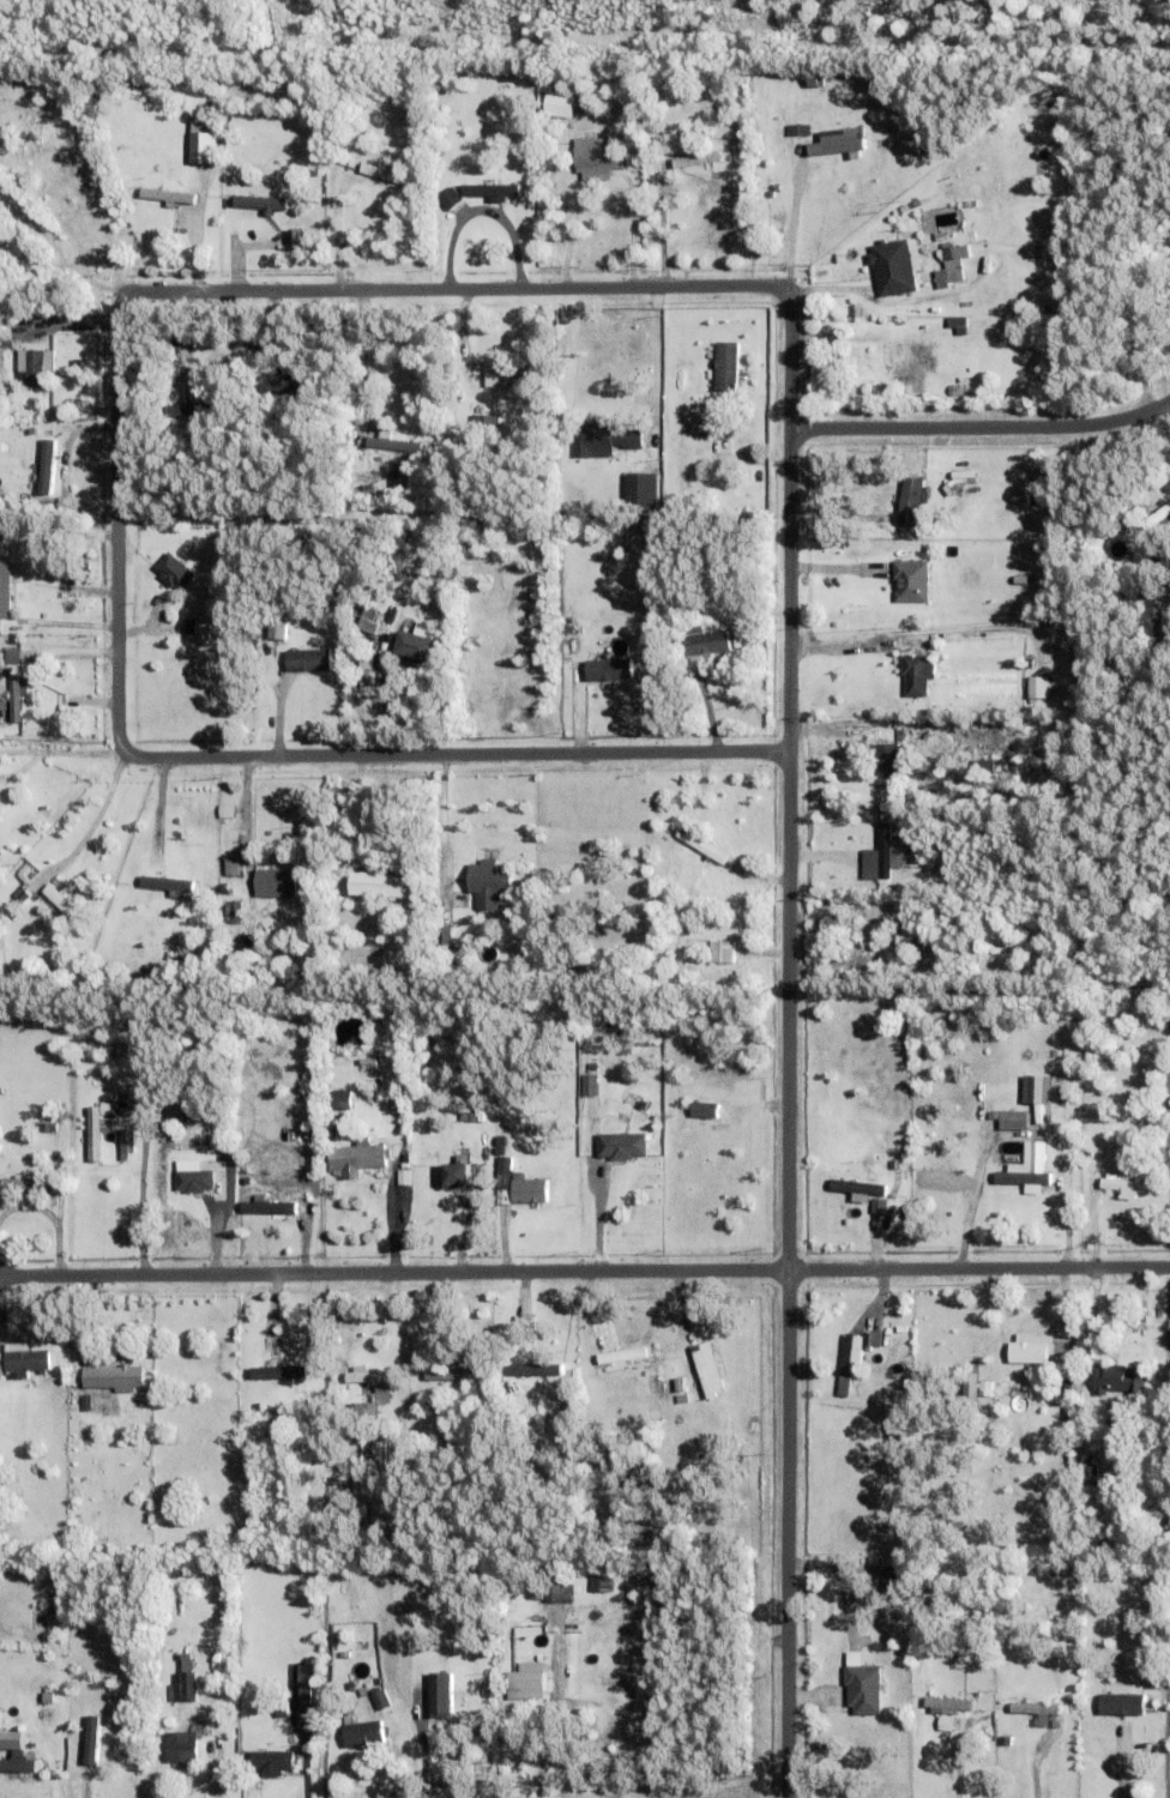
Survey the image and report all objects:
building: (816, 80)
building: (556, 103)
building: (822, 105)
building: (798, 129)
building: (838, 143)
building: (43, 145)
building: (204, 146)
building: (598, 157)
building: (696, 159)
building: (386, 174)
road: (599, 188)
building: (490, 189)
building: (562, 191)
building: (732, 191)
building: (168, 194)
building: (450, 198)
building: (260, 203)
building: (970, 204)
building: (905, 209)
building: (150, 235)
building: (941, 235)
building: (296, 239)
building: (1164, 240)
building: (949, 264)
building: (893, 267)
road: (125, 294)
building: (958, 324)
building: (990, 324)
building: (210, 350)
building: (911, 363)
building: (725, 366)
building: (35, 367)
road: (653, 372)
building: (502, 373)
building: (281, 387)
building: (959, 388)
building: (298, 391)
building: (201, 394)
building: (186, 408)
building: (203, 410)
building: (719, 421)
building: (484, 422)
building: (68, 423)
road: (982, 426)
building: (604, 439)
building: (391, 442)
building: (44, 471)
building: (7, 485)
building: (641, 491)
building: (959, 499)
building: (911, 501)
building: (1156, 518)
building: (174, 572)
building: (834, 579)
building: (910, 581)
building: (5, 585)
building: (686, 586)
building: (743, 591)
building: (217, 595)
building: (392, 614)
building: (368, 623)
building: (277, 630)
building: (1165, 630)
building: (387, 635)
building: (735, 635)
building: (417, 646)
building: (704, 646)
building: (12, 657)
building: (308, 660)
building: (367, 664)
building: (608, 669)
building: (917, 674)
building: (1036, 687)
building: (4, 690)
building: (16, 693)
building: (942, 710)
building: (888, 760)
building: (0, 809)
building: (225, 811)
building: (702, 846)
building: (885, 852)
building: (903, 855)
building: (868, 864)
building: (231, 868)
building: (168, 883)
building: (276, 883)
building: (490, 885)
building: (378, 886)
building: (61, 901)
building: (676, 907)
building: (937, 911)
building: (235, 912)
building: (971, 928)
building: (279, 934)
building: (909, 940)
building: (724, 953)
building: (187, 1074)
building: (587, 1085)
building: (1035, 1090)
building: (342, 1102)
building: (105, 1108)
building: (705, 1111)
building: (46, 1114)
building: (1008, 1116)
building: (471, 1118)
building: (337, 1120)
building: (1014, 1126)
building: (46, 1128)
building: (95, 1133)
building: (337, 1133)
building: (308, 1134)
building: (501, 1141)
building: (126, 1144)
building: (621, 1146)
building: (500, 1152)
building: (358, 1159)
building: (1029, 1171)
building: (404, 1176)
building: (456, 1178)
building: (189, 1181)
building: (503, 1182)
building: (26, 1184)
building: (1124, 1188)
building: (529, 1190)
building: (860, 1190)
building: (313, 1191)
building: (267, 1207)
road: (597, 1217)
building: (432, 1231)
building: (273, 1242)
road: (978, 1268)
road: (393, 1273)
road: (788, 1274)
building: (901, 1331)
building: (1037, 1350)
building: (855, 1358)
building: (25, 1360)
building: (0, 1370)
building: (707, 1370)
building: (282, 1372)
building: (448, 1375)
building: (533, 1375)
building: (113, 1377)
building: (372, 1380)
building: (1121, 1381)
building: (680, 1386)
building: (1071, 1386)
building: (967, 1389)
building: (984, 1389)
building: (682, 1399)
building: (86, 1404)
building: (435, 1405)
building: (357, 1410)
building: (514, 1418)
building: (1088, 1449)
building: (1073, 1462)
building: (1091, 1477)
building: (379, 1510)
building: (905, 1557)
building: (917, 1562)
building: (569, 1569)
building: (892, 1580)
building: (601, 1583)
building: (555, 1594)
building: (446, 1603)
building: (344, 1655)
building: (446, 1661)
building: (1150, 1669)
building: (260, 1684)
building: (526, 1684)
building: (181, 1689)
building: (864, 1691)
building: (439, 1693)
building: (381, 1700)
building: (304, 1706)
building: (947, 1707)
building: (1122, 1707)
building: (282, 1708)
building: (898, 1708)
building: (1036, 1712)
building: (943, 1722)
building: (930, 1733)
building: (363, 1736)
building: (89, 1738)
building: (1009, 1743)
road: (541, 1746)
building: (182, 1749)
building: (107, 1754)
building: (16, 1762)
building: (272, 1764)
road: (1121, 1769)
building: (35, 1786)
building: (16, 1788)

